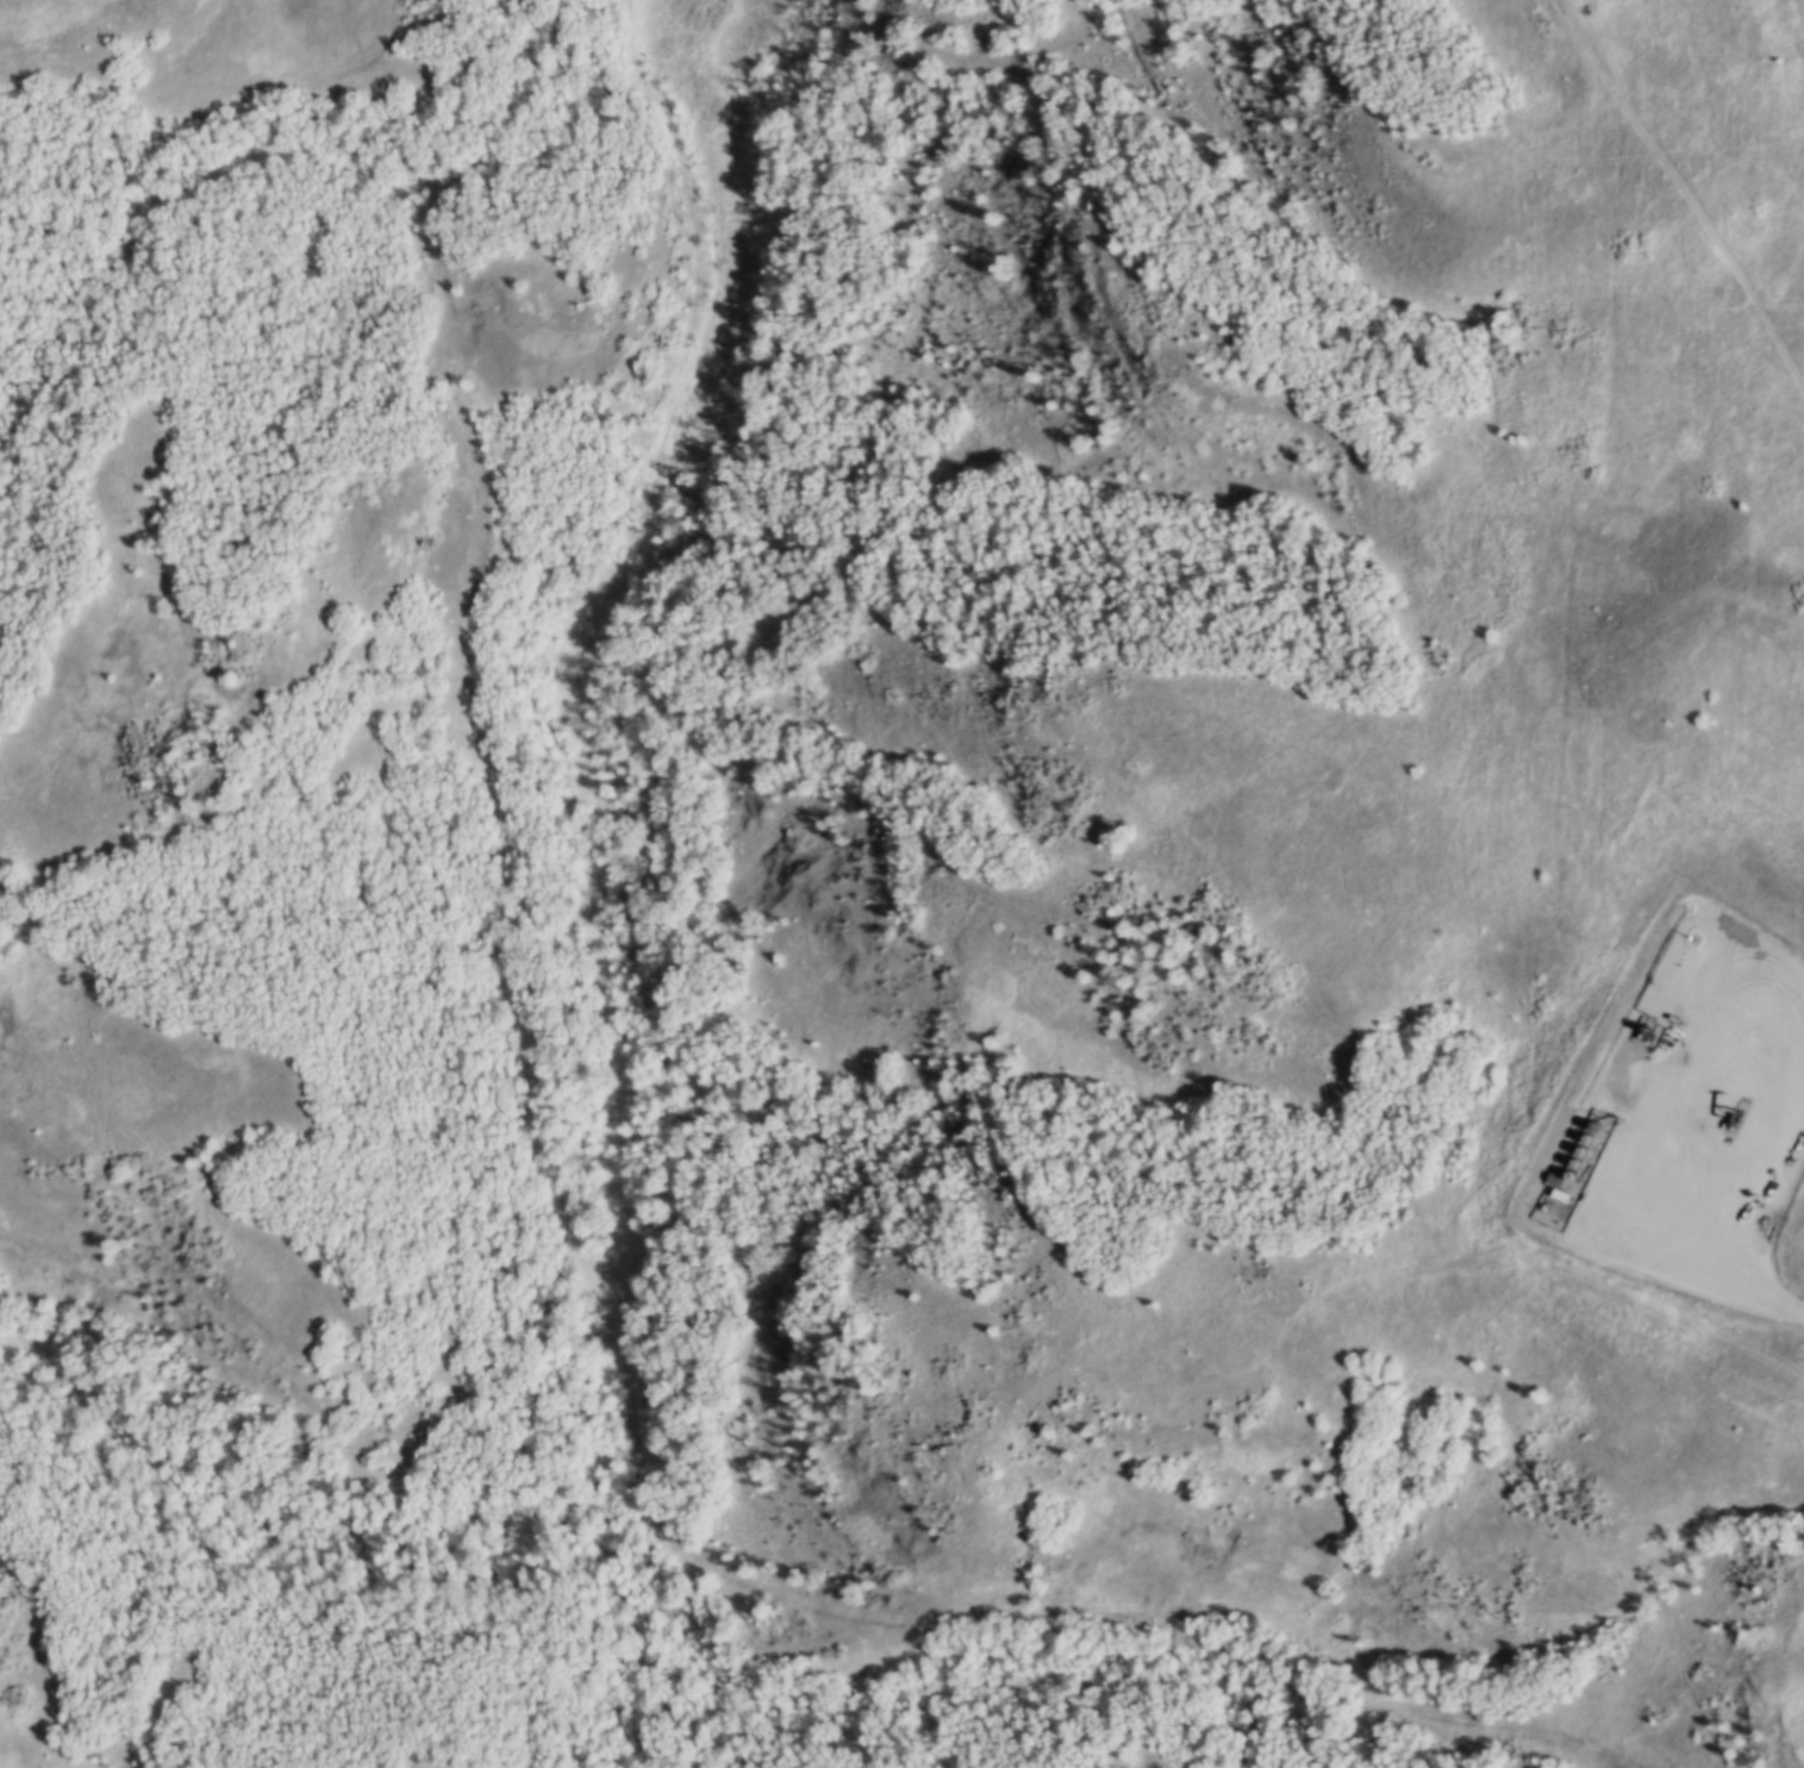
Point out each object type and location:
road: (1686, 193)
petroleum well: (1734, 1105)
building: (1588, 1132)
storage tank: (1588, 1132)
building: (1581, 1145)
storage tank: (1581, 1145)
building: (1577, 1157)
storage tank: (1577, 1157)
building: (1569, 1170)
storage tank: (1569, 1170)
building: (1563, 1183)
storage tank: (1563, 1183)
road: (1693, 1202)
road: (1165, 1619)

